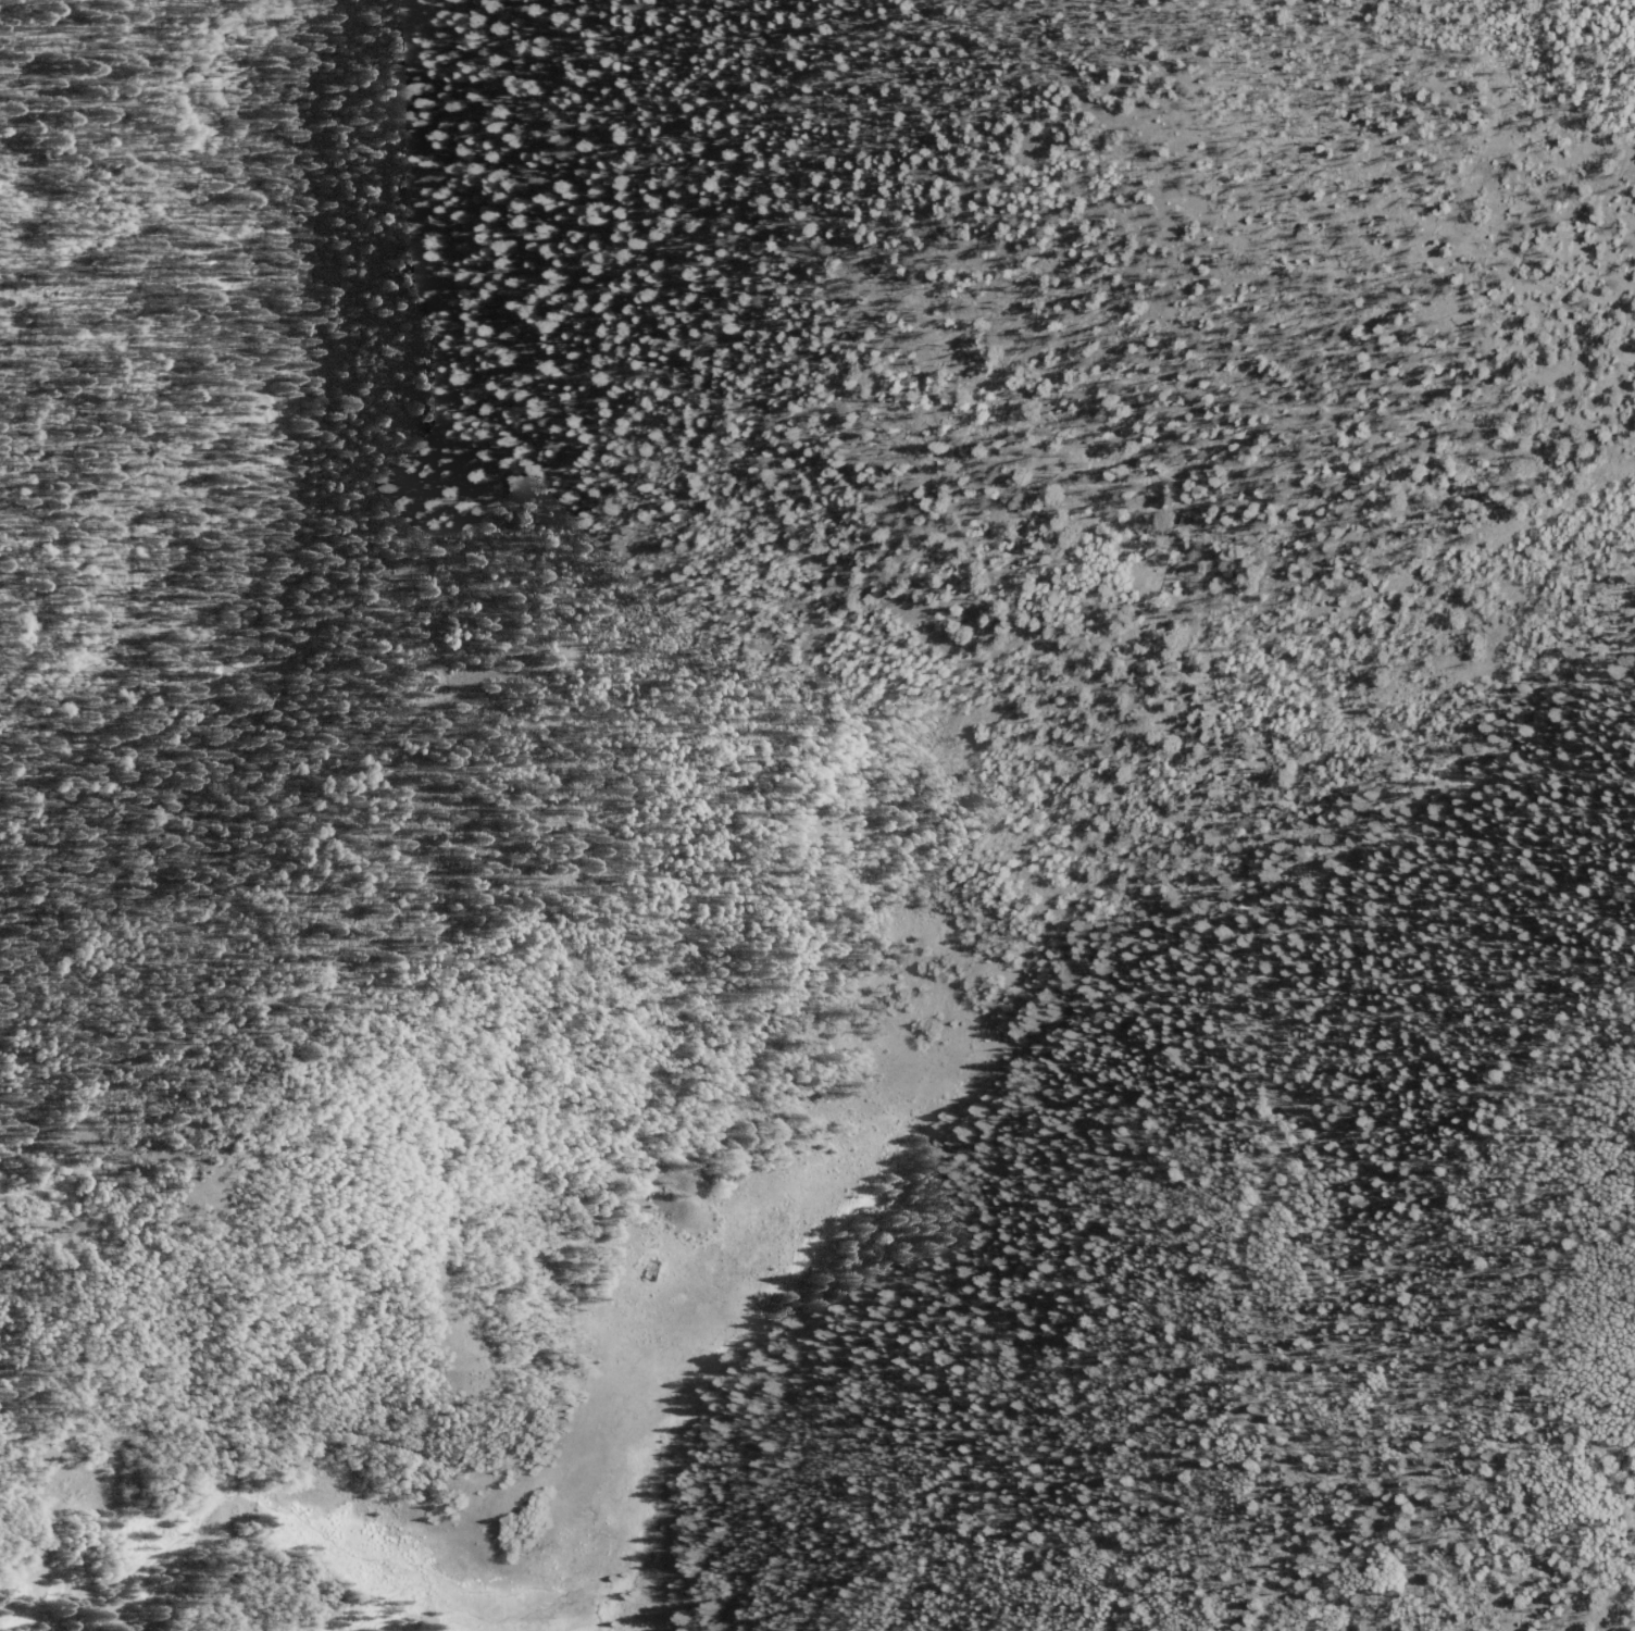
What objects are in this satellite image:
road: (386, 247)
road: (269, 440)

